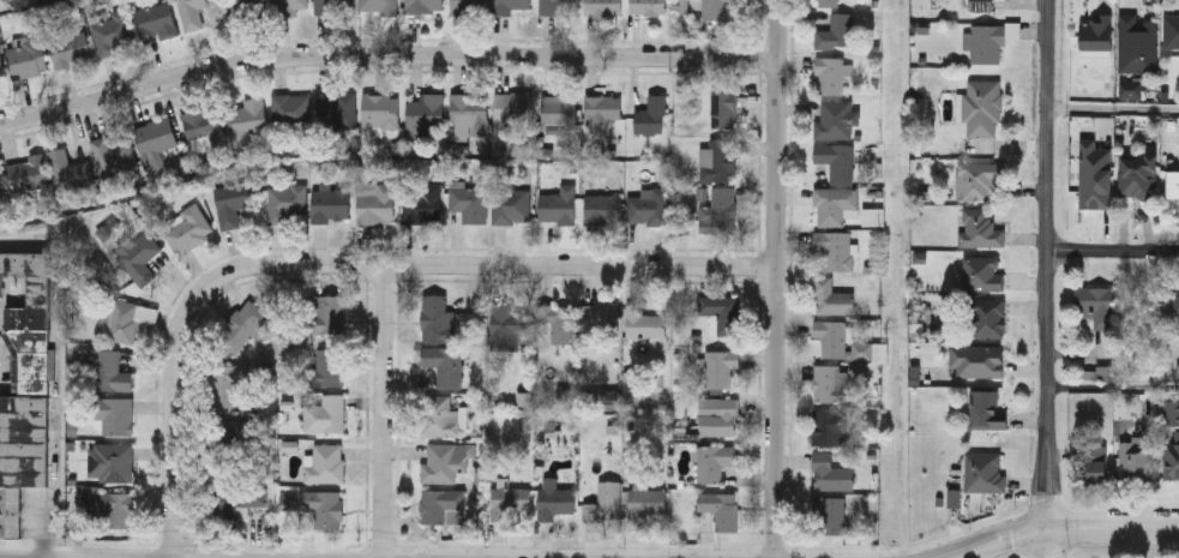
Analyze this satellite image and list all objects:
building: (828, 2)
building: (980, 4)
building: (332, 5)
building: (377, 5)
building: (423, 5)
building: (509, 5)
building: (551, 5)
building: (243, 6)
building: (287, 6)
building: (468, 6)
building: (602, 6)
building: (648, 6)
building: (711, 10)
building: (191, 12)
building: (154, 19)
building: (109, 30)
building: (835, 31)
building: (1171, 31)
building: (1097, 35)
building: (986, 42)
building: (1137, 43)
building: (68, 48)
building: (28, 58)
road: (386, 61)
building: (1, 67)
building: (831, 73)
building: (512, 106)
building: (602, 107)
building: (982, 107)
building: (379, 108)
building: (425, 108)
building: (559, 108)
building: (723, 108)
building: (290, 109)
building: (335, 109)
road: (1114, 112)
building: (469, 113)
building: (247, 115)
building: (650, 115)
building: (834, 118)
building: (204, 124)
building: (155, 136)
building: (113, 154)
building: (717, 158)
building: (836, 158)
building: (67, 169)
building: (26, 172)
building: (976, 176)
building: (1137, 178)
building: (0, 181)
building: (1173, 185)
building: (231, 200)
building: (285, 200)
building: (373, 200)
building: (468, 200)
building: (422, 202)
building: (558, 202)
building: (330, 203)
building: (511, 203)
building: (834, 203)
building: (648, 205)
building: (602, 206)
building: (718, 206)
building: (979, 226)
building: (834, 247)
road: (1114, 252)
building: (138, 254)
road: (347, 260)
building: (982, 271)
road: (777, 278)
road: (897, 278)
road: (1051, 278)
building: (831, 295)
building: (1095, 305)
building: (1171, 308)
building: (721, 311)
building: (325, 312)
building: (592, 314)
building: (555, 316)
building: (987, 316)
building: (125, 317)
building: (435, 317)
building: (642, 319)
building: (243, 320)
building: (506, 320)
building: (830, 335)
building: (976, 359)
building: (443, 361)
building: (327, 365)
building: (718, 365)
building: (106, 368)
building: (28, 373)
building: (826, 379)
building: (221, 383)
road: (1114, 392)
building: (986, 408)
road: (385, 409)
building: (113, 412)
building: (324, 412)
building: (438, 414)
building: (718, 416)
building: (828, 424)
building: (233, 438)
road: (59, 456)
building: (445, 458)
building: (714, 458)
building: (1136, 458)
building: (1172, 458)
building: (115, 460)
building: (324, 461)
building: (1096, 463)
building: (983, 469)
building: (829, 470)
building: (553, 497)
building: (233, 498)
building: (509, 498)
building: (603, 500)
building: (646, 502)
building: (314, 503)
building: (441, 504)
building: (721, 505)
building: (112, 506)
building: (12, 511)
building: (830, 512)
road: (1114, 528)
road: (1001, 539)
road: (1154, 542)

